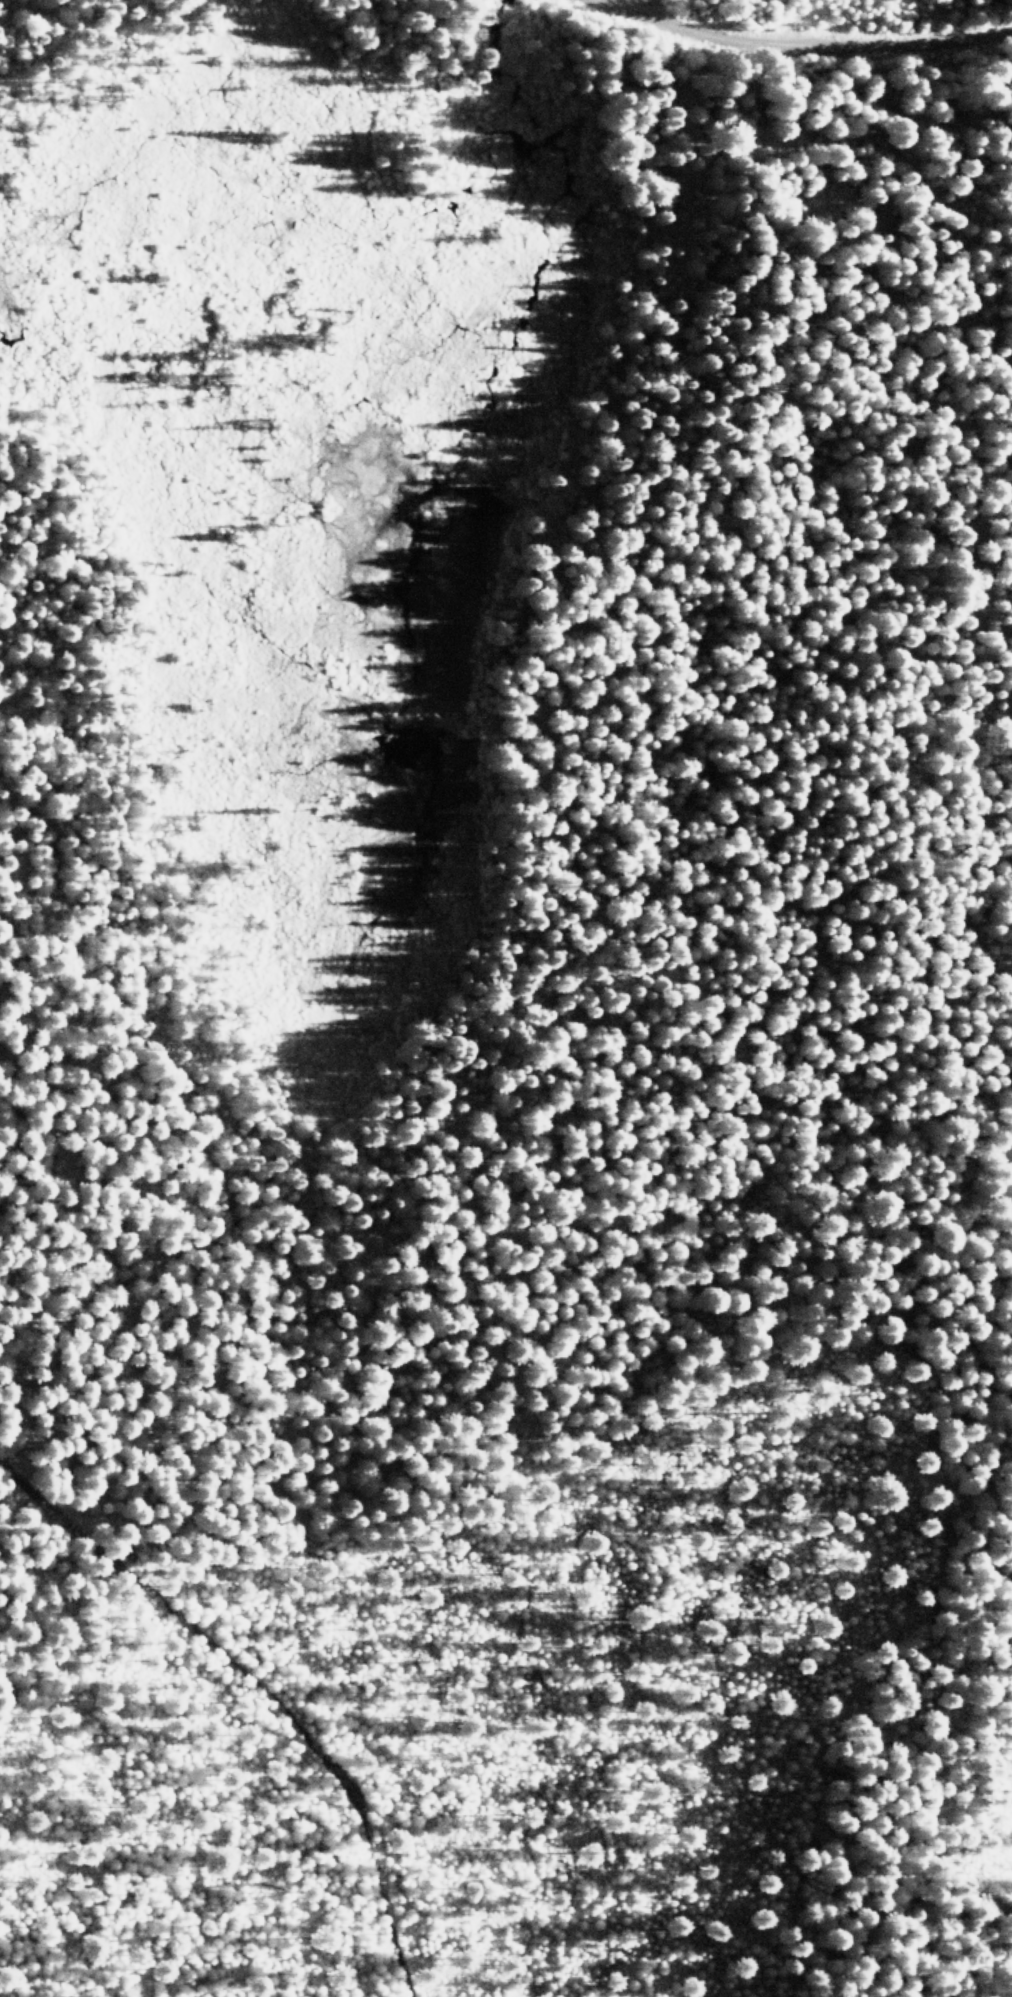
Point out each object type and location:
road: (799, 48)

